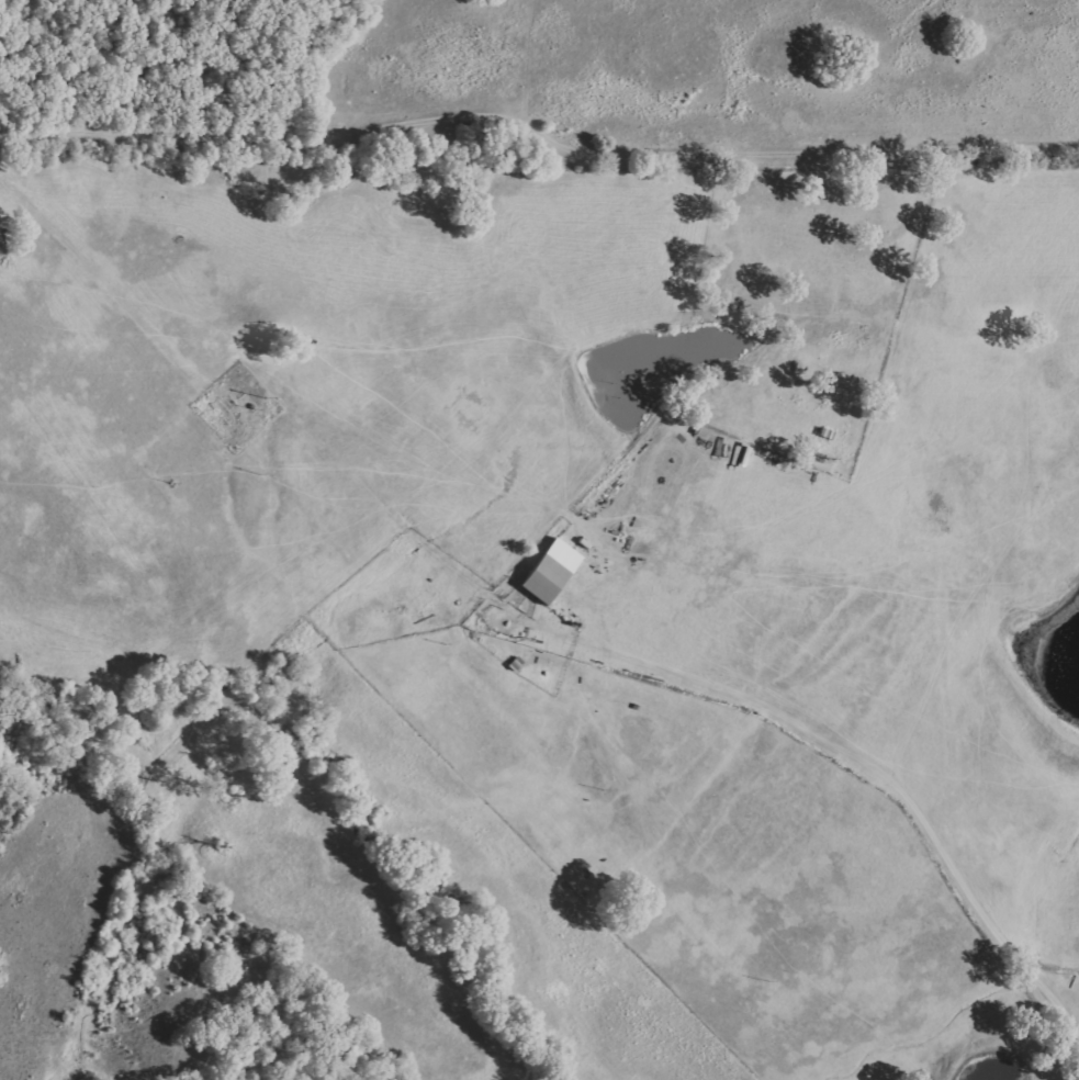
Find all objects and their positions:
building: (547, 580)
road: (896, 781)

